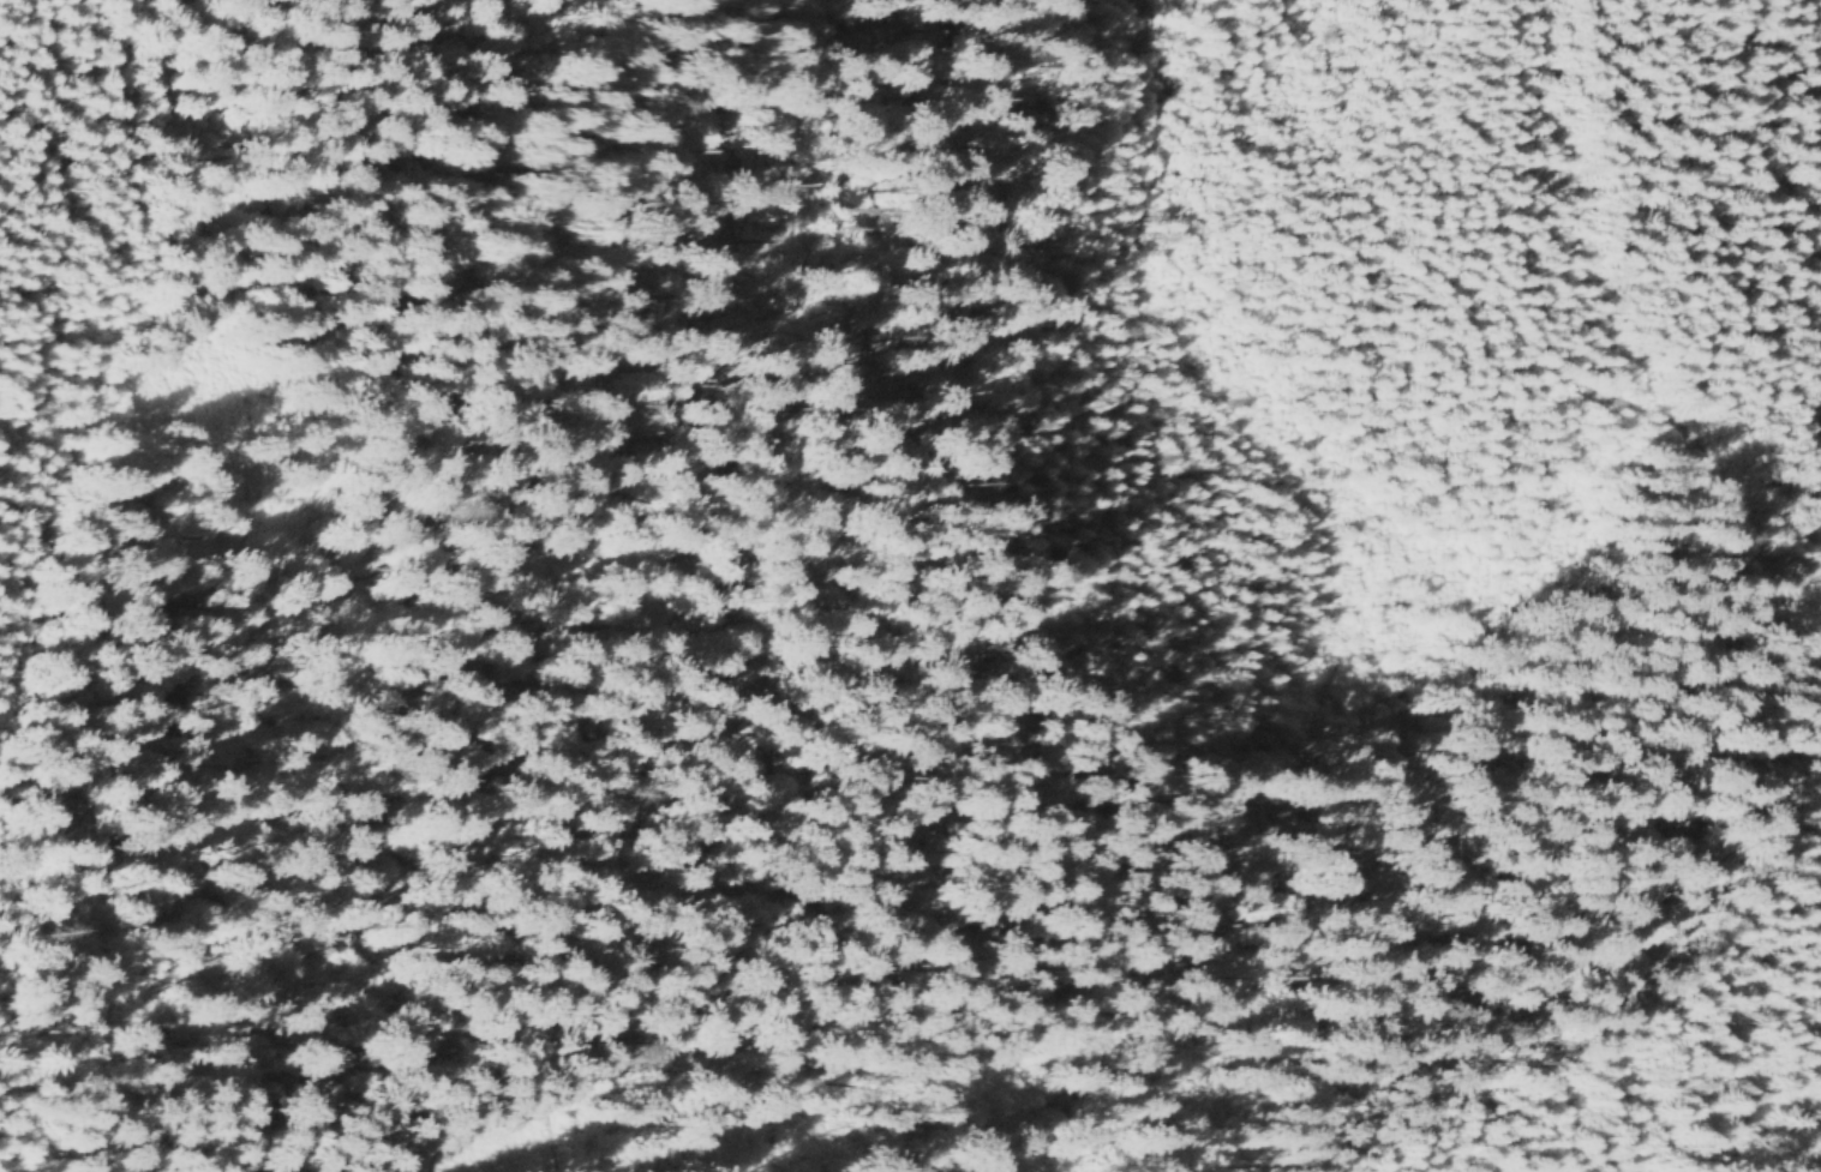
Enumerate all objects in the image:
road: (1579, 1077)

